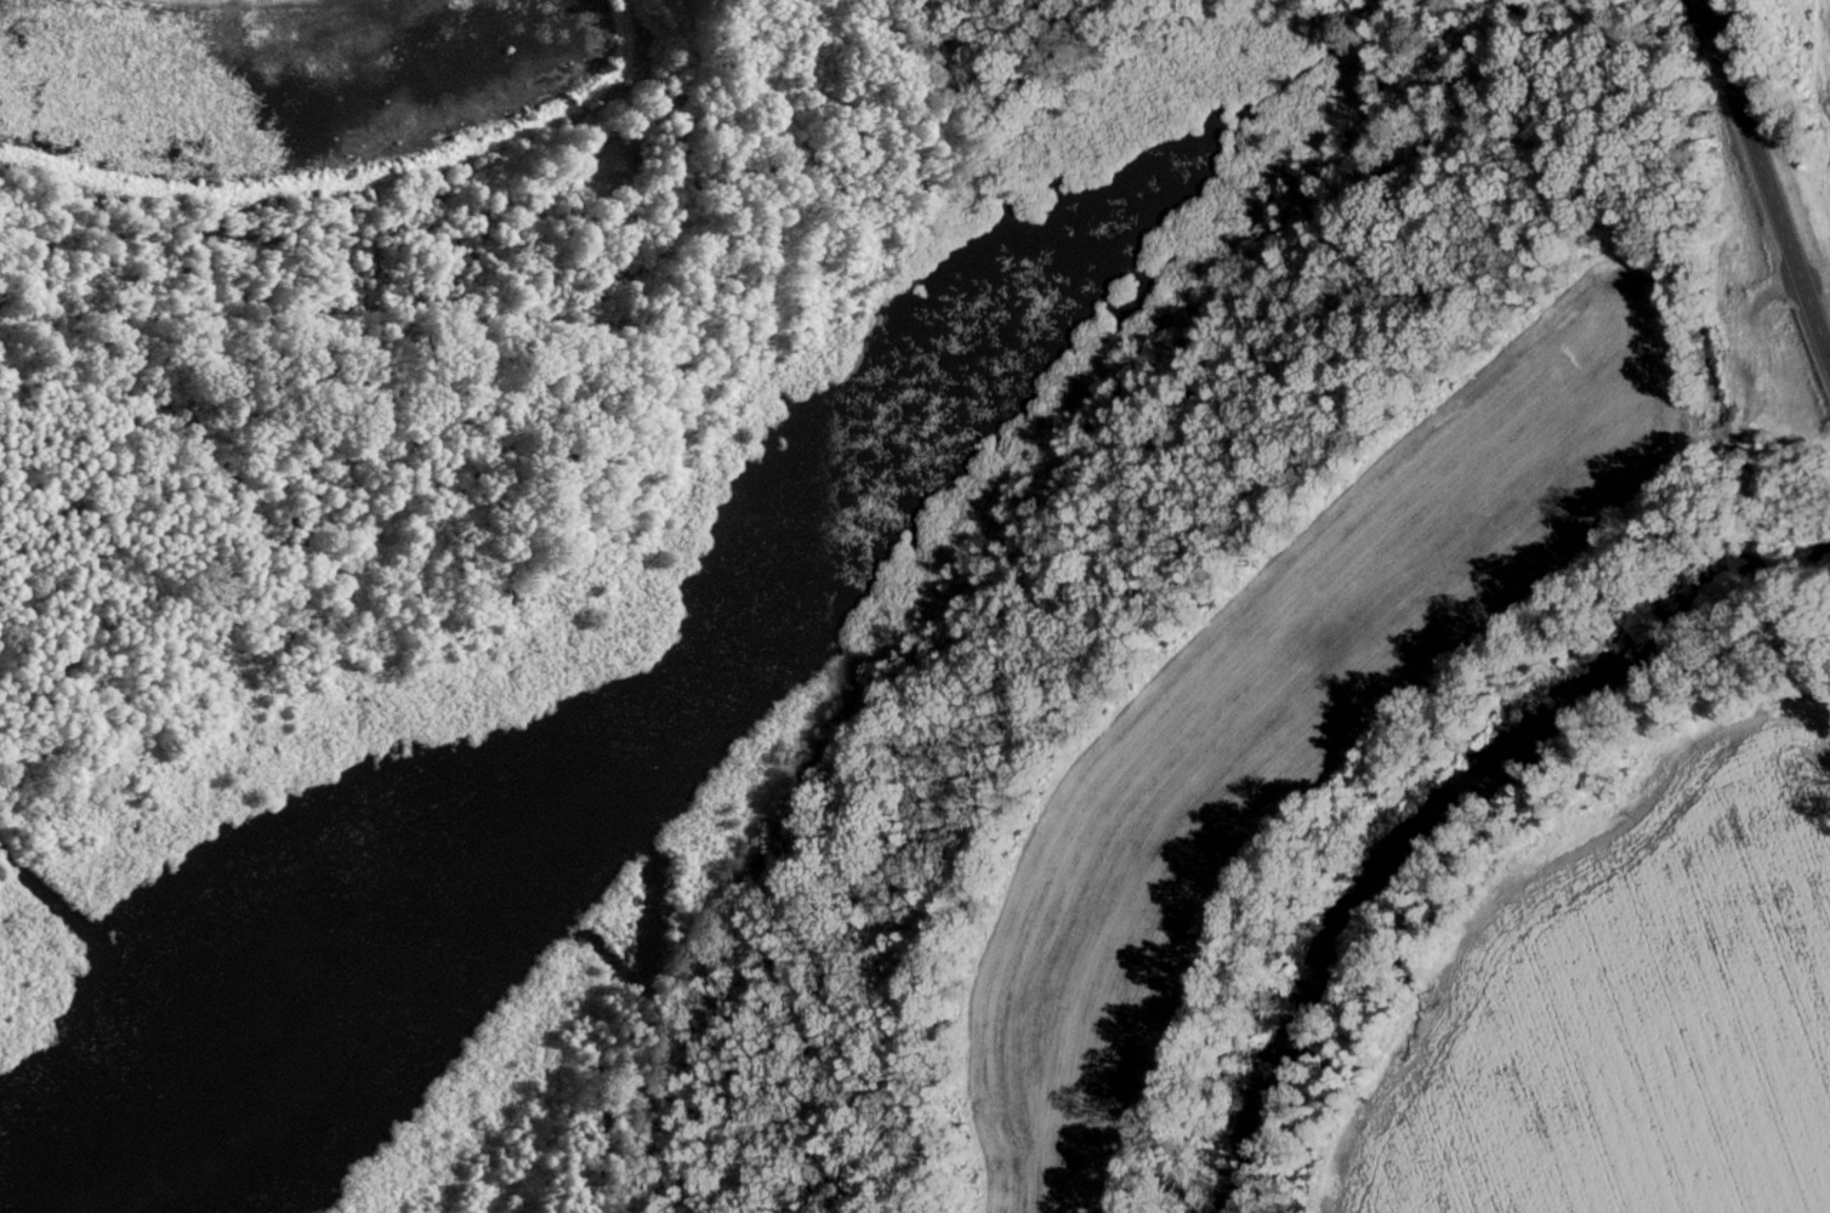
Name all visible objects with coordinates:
road: (1768, 178)
road: (1829, 764)
river: (1457, 797)

